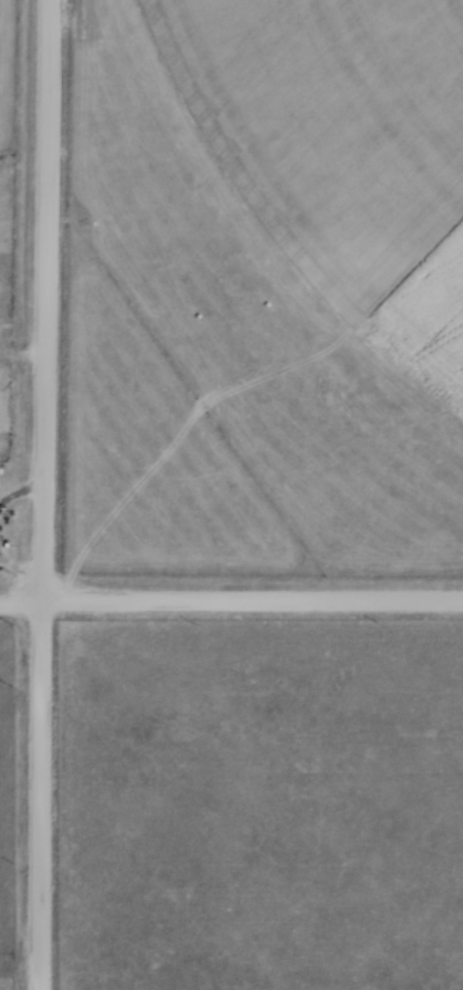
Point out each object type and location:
road: (42, 494)
road: (231, 599)

